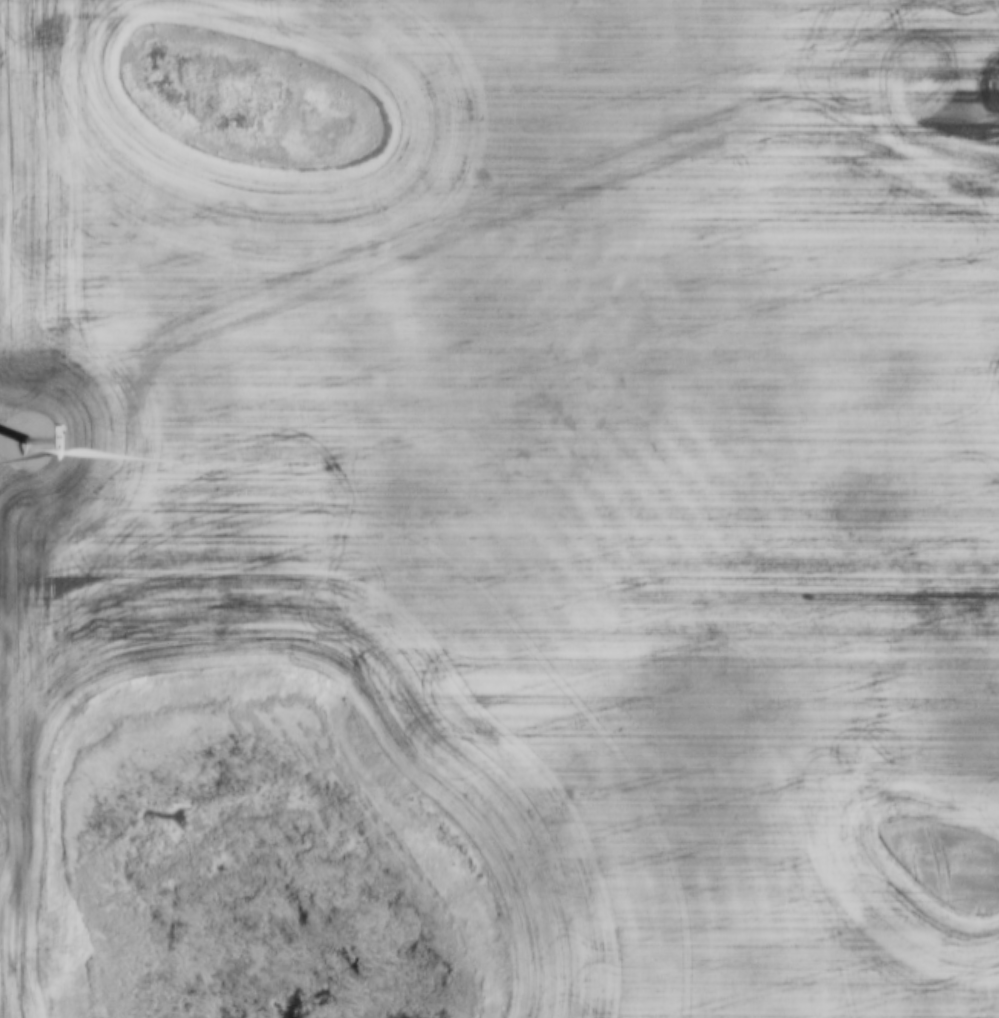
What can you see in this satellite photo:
wind turbine: (24, 442)

